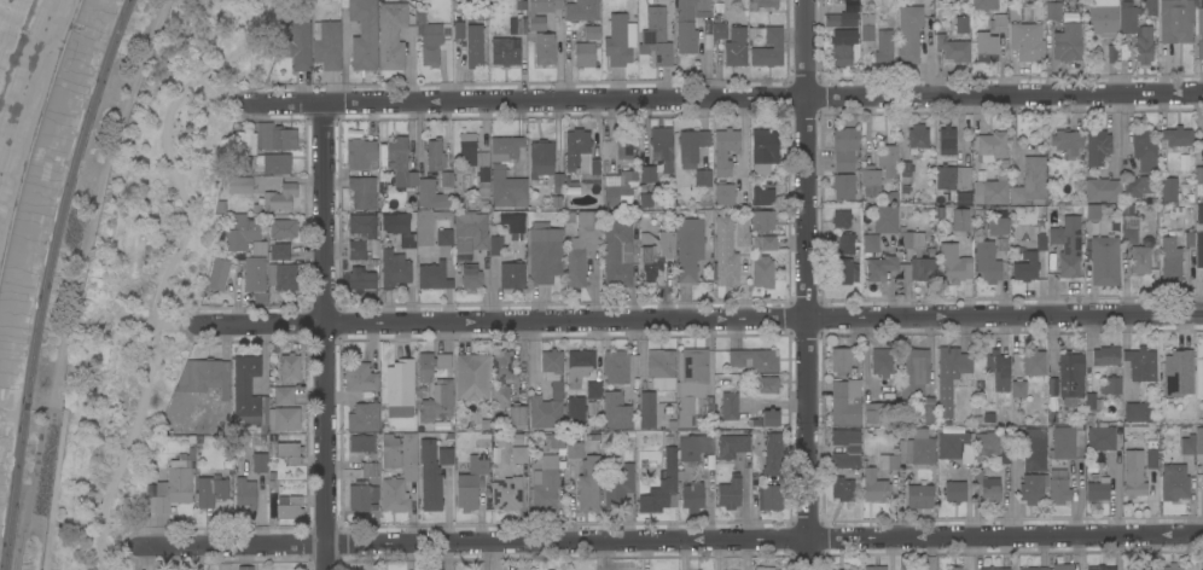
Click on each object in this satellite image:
building: (1198, 2)
building: (762, 4)
building: (984, 4)
building: (521, 5)
building: (1149, 7)
building: (581, 10)
building: (1052, 11)
building: (1012, 13)
building: (1103, 17)
building: (835, 19)
building: (1175, 21)
building: (688, 23)
building: (998, 23)
building: (866, 28)
building: (537, 29)
building: (717, 29)
building: (458, 30)
building: (1198, 31)
building: (591, 33)
building: (1135, 33)
building: (364, 34)
building: (391, 34)
building: (909, 34)
building: (656, 36)
building: (429, 40)
building: (620, 40)
building: (955, 41)
building: (1027, 41)
building: (298, 42)
building: (1067, 42)
building: (326, 45)
building: (473, 45)
building: (842, 47)
building: (986, 47)
building: (768, 48)
building: (883, 48)
building: (505, 52)
building: (1111, 53)
building: (585, 54)
building: (734, 54)
road: (762, 97)
road: (285, 101)
road: (1124, 123)
road: (1114, 126)
building: (917, 136)
building: (1176, 136)
building: (274, 138)
building: (947, 140)
building: (1067, 142)
building: (691, 146)
building: (990, 146)
building: (1097, 147)
building: (504, 149)
building: (624, 149)
building: (845, 149)
building: (1144, 150)
building: (725, 151)
building: (763, 151)
building: (397, 152)
building: (361, 155)
building: (434, 155)
building: (580, 156)
building: (887, 159)
building: (275, 163)
building: (472, 163)
building: (544, 163)
building: (655, 164)
building: (250, 165)
building: (906, 171)
building: (953, 178)
building: (411, 179)
building: (446, 179)
building: (703, 179)
building: (870, 180)
building: (1029, 181)
building: (1198, 184)
building: (239, 186)
building: (843, 186)
building: (620, 188)
building: (1139, 188)
building: (507, 190)
building: (1103, 190)
building: (1168, 190)
building: (362, 192)
building: (990, 192)
building: (723, 193)
building: (763, 193)
building: (430, 194)
building: (275, 198)
building: (963, 198)
building: (705, 202)
building: (1094, 211)
building: (1198, 214)
building: (903, 215)
building: (841, 219)
building: (763, 220)
building: (960, 220)
building: (362, 225)
building: (1128, 225)
building: (515, 226)
building: (998, 226)
building: (283, 228)
building: (399, 228)
building: (461, 232)
building: (240, 234)
building: (1175, 239)
building: (1041, 240)
building: (847, 244)
building: (877, 244)
building: (1068, 245)
building: (496, 246)
building: (690, 246)
building: (728, 246)
building: (258, 248)
building: (582, 248)
building: (356, 250)
building: (617, 250)
building: (1199, 250)
building: (278, 252)
building: (544, 254)
building: (656, 255)
building: (914, 258)
building: (1139, 260)
building: (762, 261)
building: (987, 261)
building: (1104, 261)
road: (172, 263)
building: (954, 263)
building: (1025, 267)
building: (394, 269)
park: (133, 272)
building: (842, 272)
building: (217, 274)
building: (255, 274)
building: (512, 275)
building: (284, 277)
building: (434, 277)
building: (470, 277)
road: (46, 280)
building: (360, 280)
road: (81, 283)
road: (808, 284)
road: (765, 319)
road: (260, 324)
road: (326, 335)
building: (1105, 355)
building: (754, 360)
building: (839, 360)
building: (881, 362)
building: (1033, 362)
building: (1141, 363)
building: (431, 365)
building: (501, 365)
building: (579, 366)
building: (615, 366)
building: (289, 368)
building: (661, 368)
building: (998, 370)
building: (1178, 373)
building: (207, 374)
building: (949, 376)
building: (360, 377)
building: (471, 377)
building: (1202, 377)
building: (1071, 378)
building: (917, 382)
building: (399, 383)
building: (766, 384)
building: (1052, 386)
building: (1110, 386)
building: (556, 388)
building: (693, 388)
building: (1018, 389)
building: (593, 390)
building: (283, 396)
building: (499, 397)
building: (258, 401)
building: (437, 401)
building: (1092, 401)
building: (844, 402)
building: (728, 406)
building: (575, 409)
building: (646, 409)
building: (616, 412)
building: (878, 412)
building: (1135, 412)
building: (1187, 414)
building: (517, 417)
building: (362, 418)
building: (765, 419)
building: (1099, 435)
building: (554, 440)
building: (1199, 441)
building: (364, 443)
building: (1063, 443)
building: (986, 444)
building: (1187, 444)
building: (731, 446)
building: (954, 447)
building: (845, 448)
building: (917, 448)
building: (1035, 449)
building: (574, 450)
building: (390, 452)
building: (289, 453)
building: (518, 454)
building: (772, 454)
building: (444, 456)
building: (258, 458)
building: (1151, 459)
building: (889, 460)
building: (1005, 460)
building: (1091, 465)
building: (370, 469)
building: (674, 472)
building: (1133, 473)
building: (429, 477)
building: (401, 478)
building: (1173, 482)
road: (57, 483)
building: (470, 484)
building: (588, 484)
building: (621, 484)
building: (545, 485)
building: (874, 487)
building: (986, 487)
building: (170, 488)
building: (1031, 488)
building: (1060, 488)
building: (842, 489)
building: (1097, 489)
building: (210, 490)
building: (954, 492)
building: (730, 493)
building: (506, 494)
building: (243, 495)
building: (362, 496)
building: (692, 496)
building: (769, 496)
building: (919, 496)
building: (285, 507)
road: (765, 539)
road: (228, 545)
building: (1062, 566)
building: (1172, 566)
building: (245, 568)
building: (874, 568)
building: (1100, 568)
building: (763, 569)
building: (955, 569)
building: (995, 569)
building: (1034, 569)
building: (1134, 569)

